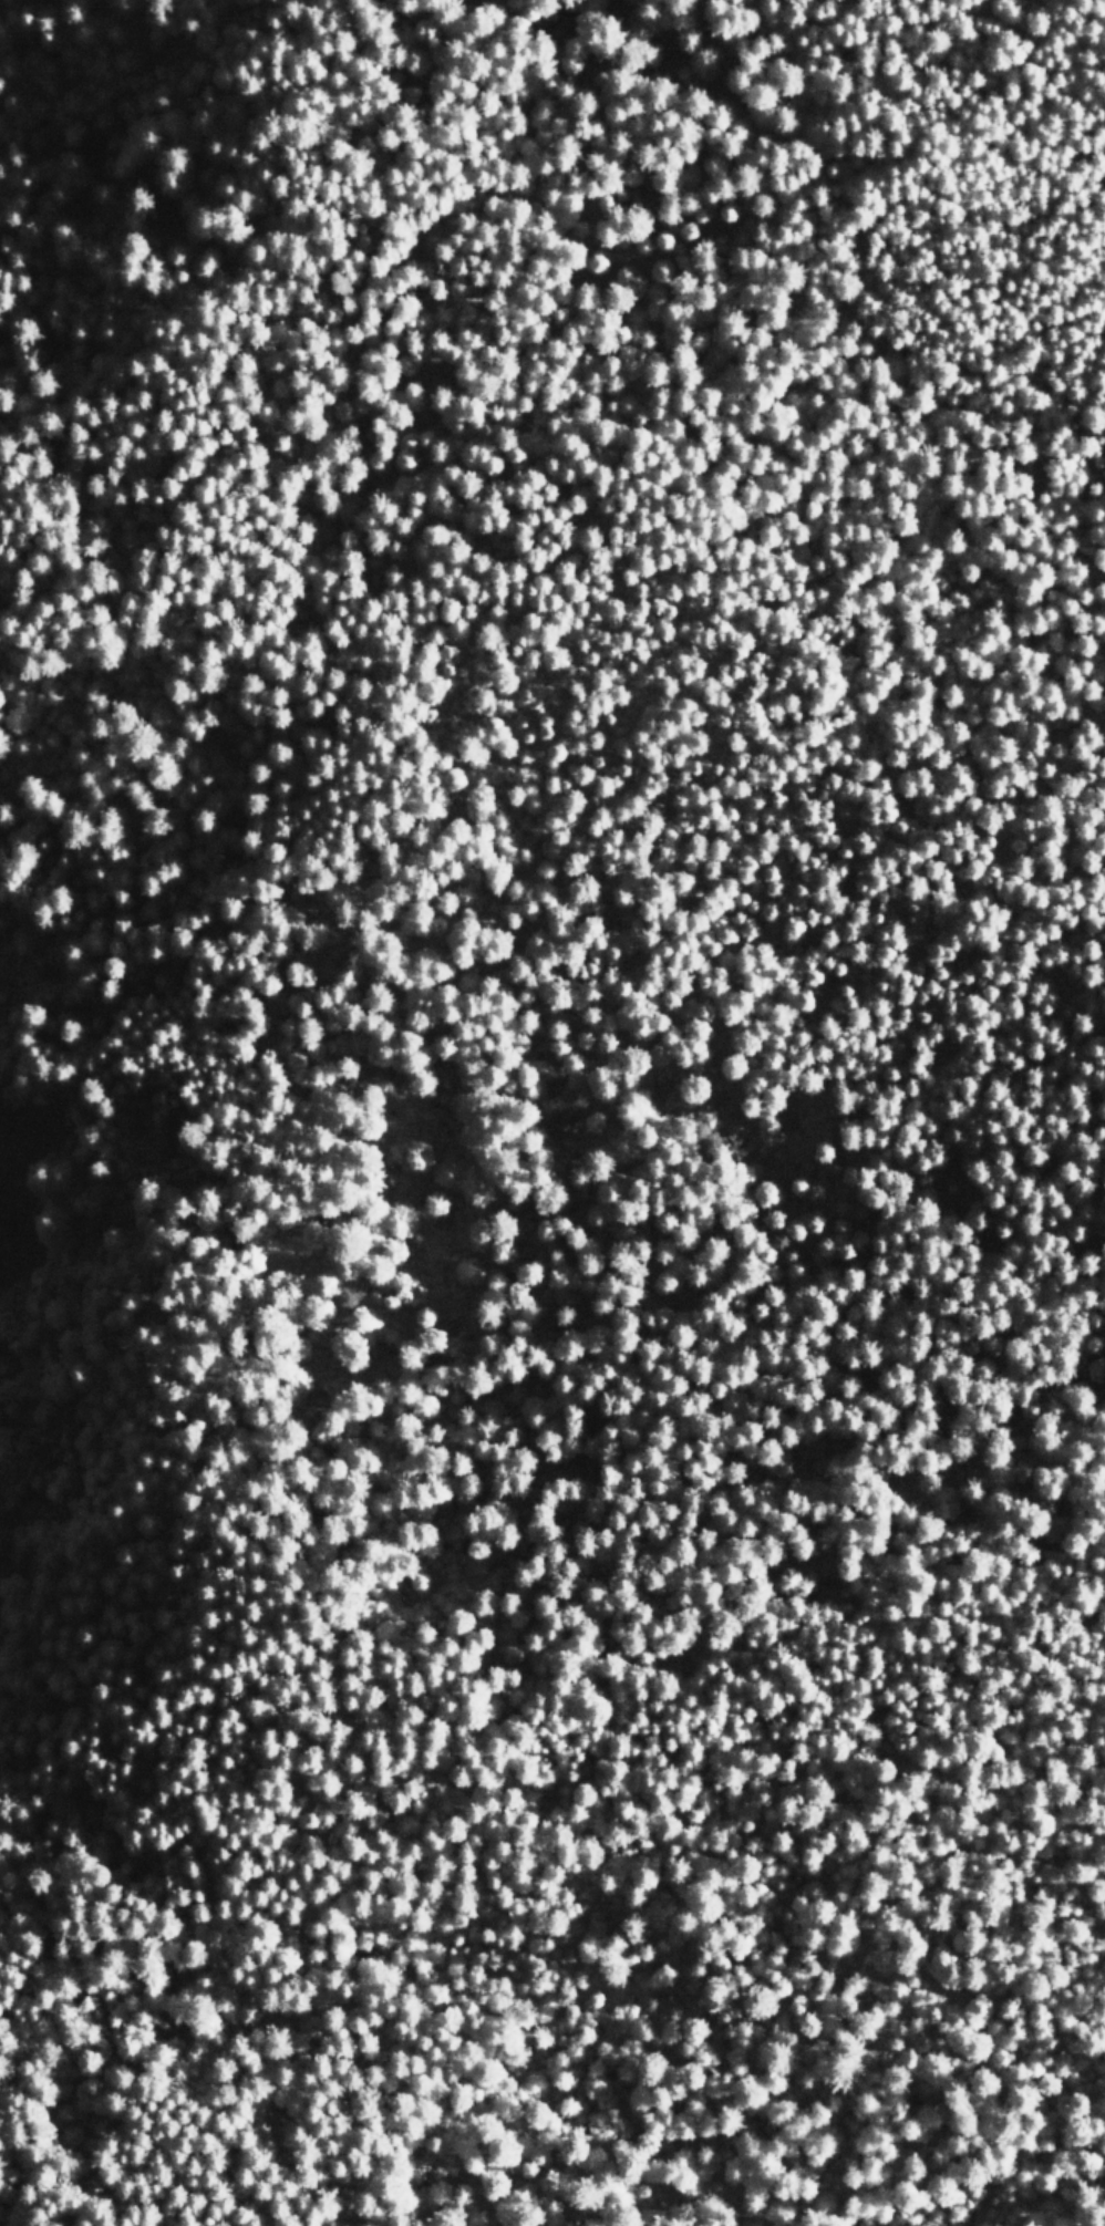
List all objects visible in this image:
road: (500, 1795)

